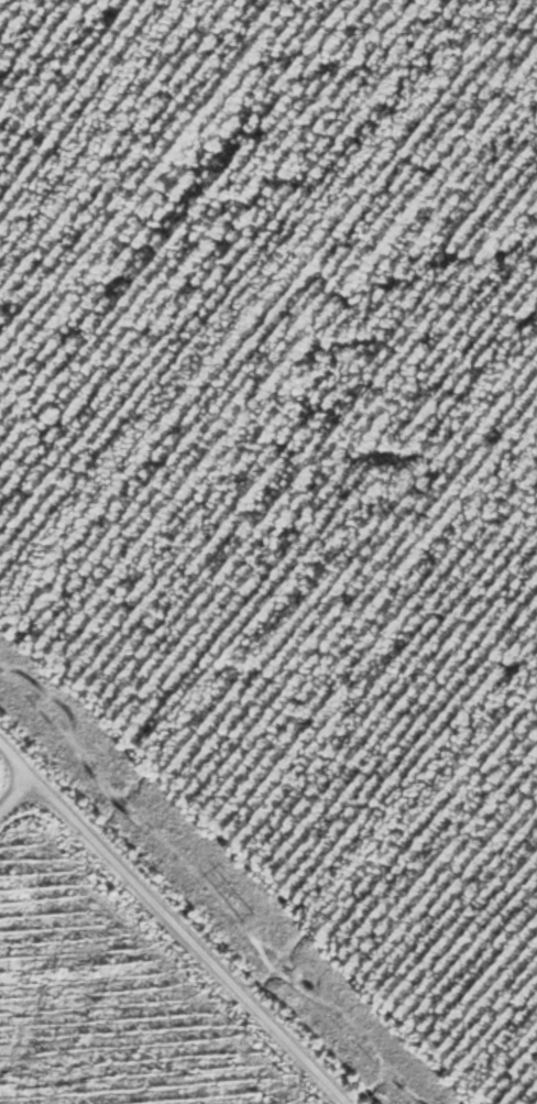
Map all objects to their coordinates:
road: (188, 909)
power tower: (251, 918)

